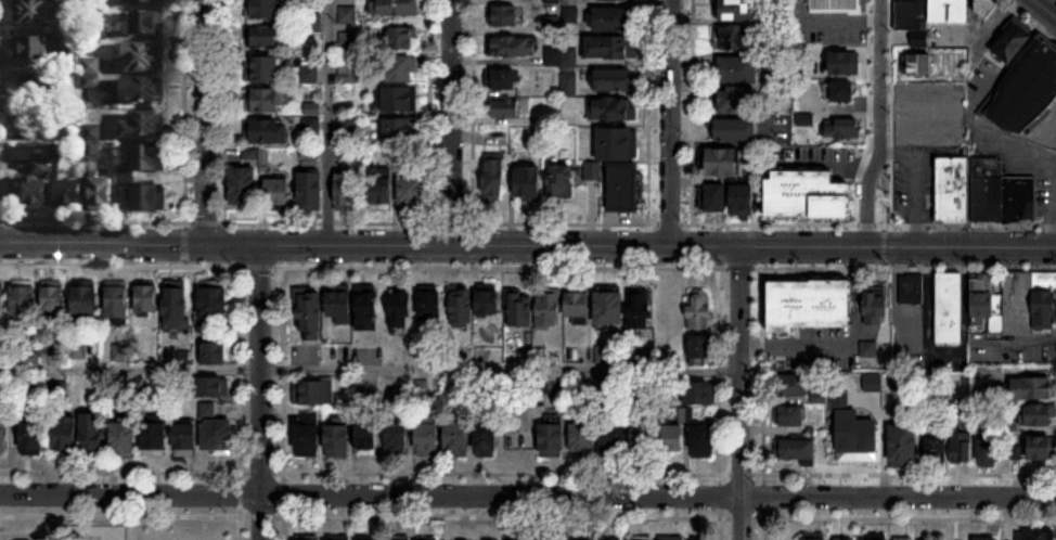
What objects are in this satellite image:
building: (616, 0)
building: (143, 2)
building: (570, 2)
building: (836, 5)
building: (984, 7)
road: (1046, 7)
building: (398, 8)
building: (262, 10)
building: (735, 10)
building: (31, 12)
building: (949, 12)
building: (912, 14)
building: (503, 16)
building: (610, 20)
building: (145, 24)
building: (263, 36)
building: (737, 38)
building: (401, 39)
building: (511, 48)
building: (609, 48)
building: (31, 50)
building: (561, 57)
building: (141, 59)
building: (69, 61)
building: (845, 63)
building: (261, 69)
building: (401, 70)
building: (738, 70)
building: (90, 74)
building: (309, 75)
building: (501, 80)
building: (613, 80)
building: (38, 85)
building: (567, 86)
building: (1027, 89)
building: (136, 92)
building: (842, 92)
building: (399, 100)
building: (263, 101)
building: (737, 101)
building: (506, 108)
road: (471, 110)
building: (610, 110)
road: (647, 111)
road: (691, 111)
road: (867, 113)
road: (205, 123)
road: (325, 123)
building: (33, 124)
road: (449, 124)
road: (669, 124)
road: (879, 125)
building: (142, 128)
building: (840, 129)
building: (734, 130)
building: (398, 131)
building: (266, 132)
road: (917, 133)
road: (1040, 137)
road: (1001, 141)
building: (615, 144)
building: (250, 155)
building: (404, 155)
building: (147, 159)
building: (723, 163)
building: (592, 172)
building: (493, 180)
building: (561, 182)
building: (528, 183)
building: (381, 187)
building: (37, 189)
building: (243, 189)
building: (310, 190)
building: (347, 190)
building: (624, 190)
building: (953, 190)
building: (411, 192)
building: (68, 195)
building: (101, 195)
building: (278, 195)
building: (147, 200)
building: (713, 200)
building: (987, 200)
building: (1020, 200)
building: (743, 201)
road: (662, 221)
road: (527, 248)
building: (911, 290)
building: (982, 297)
building: (146, 298)
building: (23, 301)
building: (53, 301)
building: (117, 301)
building: (85, 303)
building: (214, 303)
building: (488, 303)
building: (578, 303)
building: (1029, 303)
building: (429, 306)
building: (339, 307)
building: (0, 308)
building: (175, 308)
building: (949, 308)
building: (461, 309)
building: (609, 309)
building: (519, 310)
building: (640, 310)
building: (699, 310)
building: (400, 311)
building: (549, 311)
building: (368, 312)
building: (875, 314)
building: (311, 316)
building: (814, 324)
road: (843, 343)
building: (700, 351)
building: (214, 353)
road: (940, 357)
road: (370, 369)
building: (214, 387)
building: (791, 387)
building: (1034, 389)
building: (313, 391)
road: (260, 393)
building: (700, 394)
road: (741, 394)
building: (1040, 415)
building: (789, 417)
building: (216, 430)
building: (65, 434)
building: (92, 434)
building: (583, 434)
building: (3, 435)
building: (366, 436)
building: (397, 436)
building: (124, 437)
building: (31, 438)
building: (458, 438)
building: (155, 439)
building: (307, 439)
building: (428, 439)
building: (672, 439)
building: (185, 440)
building: (486, 440)
building: (552, 440)
building: (337, 441)
building: (614, 441)
building: (644, 441)
building: (703, 441)
building: (903, 446)
building: (1040, 448)
building: (962, 449)
building: (797, 450)
building: (841, 450)
building: (937, 451)
building: (989, 453)
road: (141, 472)
road: (527, 497)
road: (240, 506)
road: (283, 506)
road: (141, 517)
road: (42, 522)
park: (142, 523)
road: (133, 528)
building: (1035, 535)
road: (21, 536)
road: (41, 536)
building: (642, 538)
building: (814, 538)
building: (987, 539)

